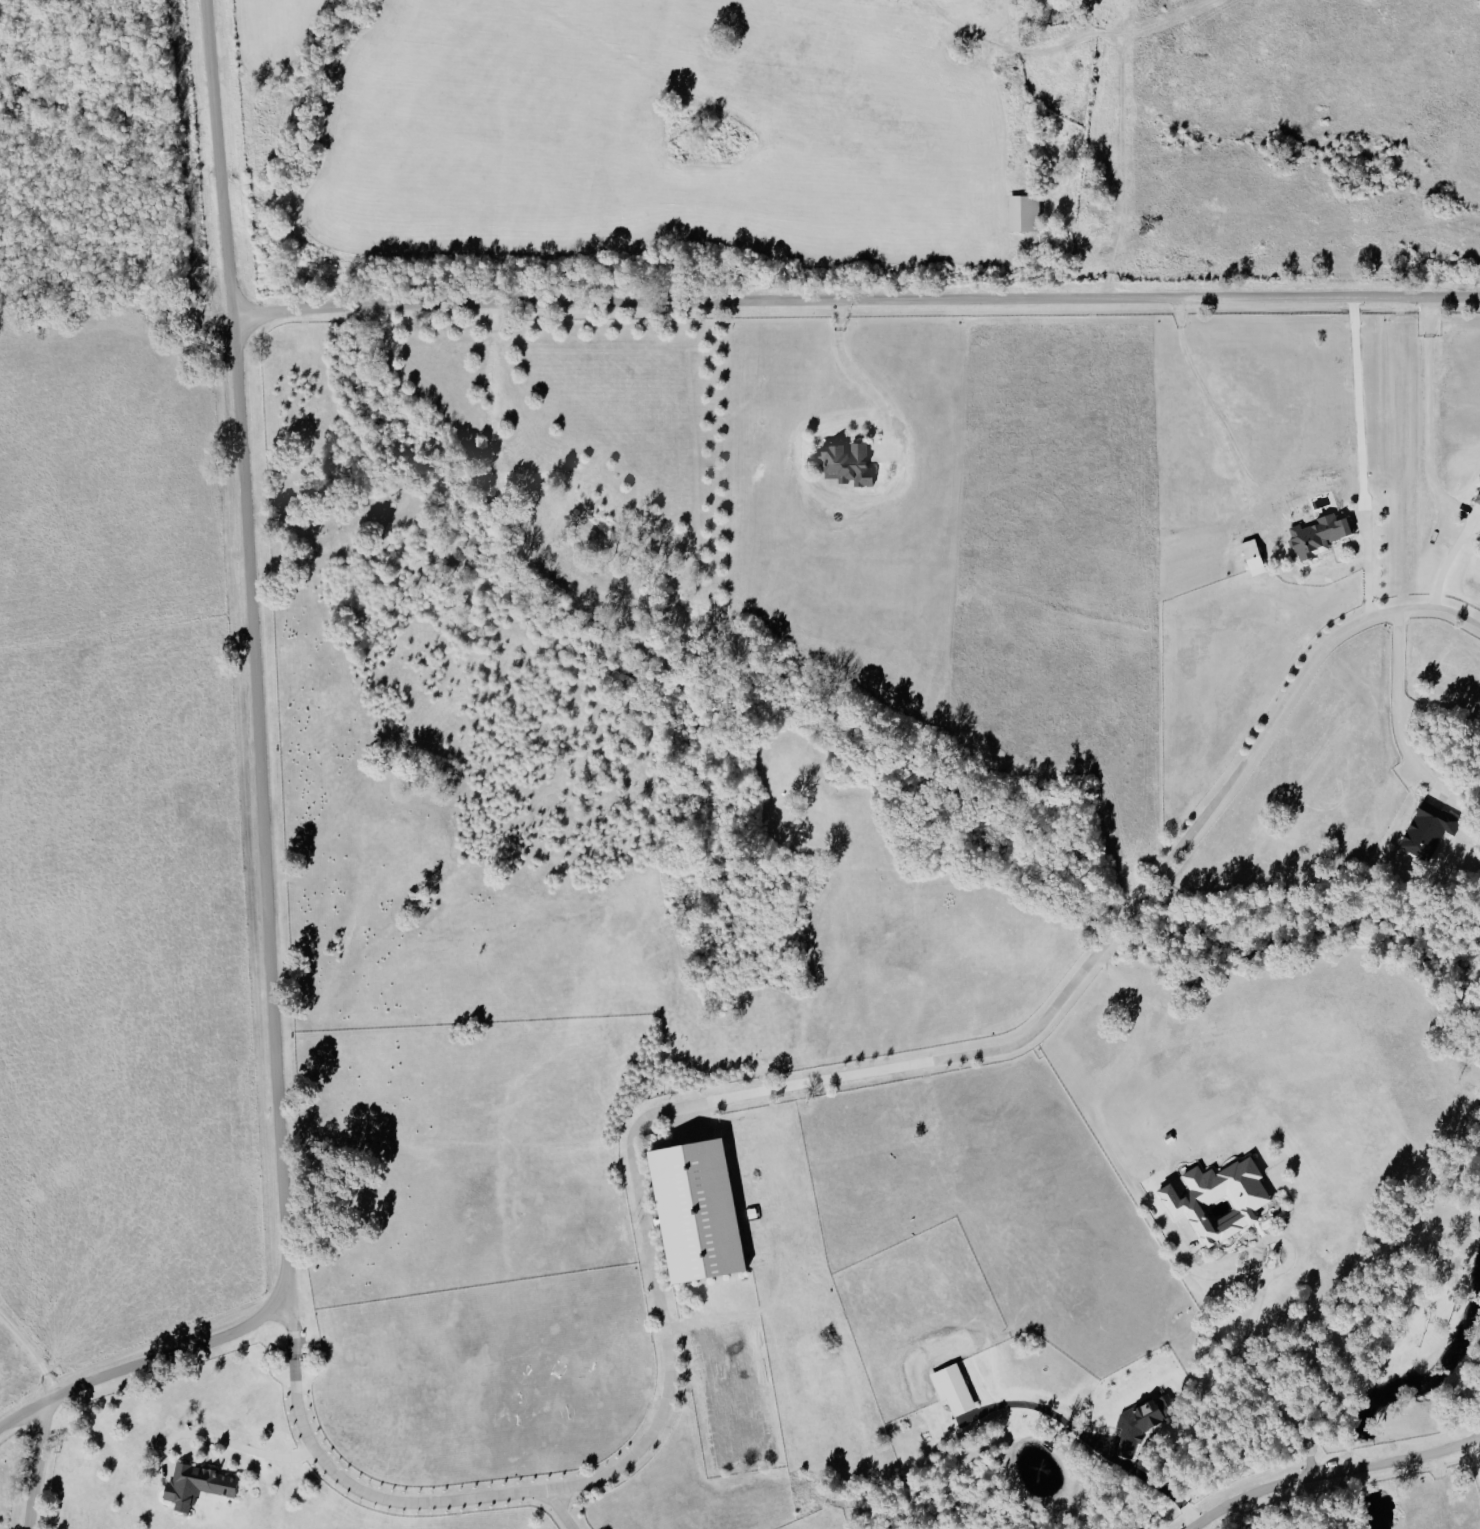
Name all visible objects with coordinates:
road: (989, 74)
building: (1025, 212)
road: (854, 301)
road: (859, 378)
road: (1428, 456)
building: (847, 462)
building: (1478, 498)
building: (1319, 536)
building: (1254, 556)
road: (1373, 568)
road: (1394, 704)
road: (258, 801)
building: (1429, 830)
road: (767, 1091)
building: (1220, 1200)
building: (698, 1211)
road: (125, 1222)
road: (287, 1320)
road: (1260, 1373)
building: (953, 1389)
building: (1143, 1422)
road: (223, 1439)
road: (1107, 1451)
road: (1476, 1453)
road: (30, 1466)
road: (1331, 1471)
building: (198, 1484)
road: (559, 1509)

